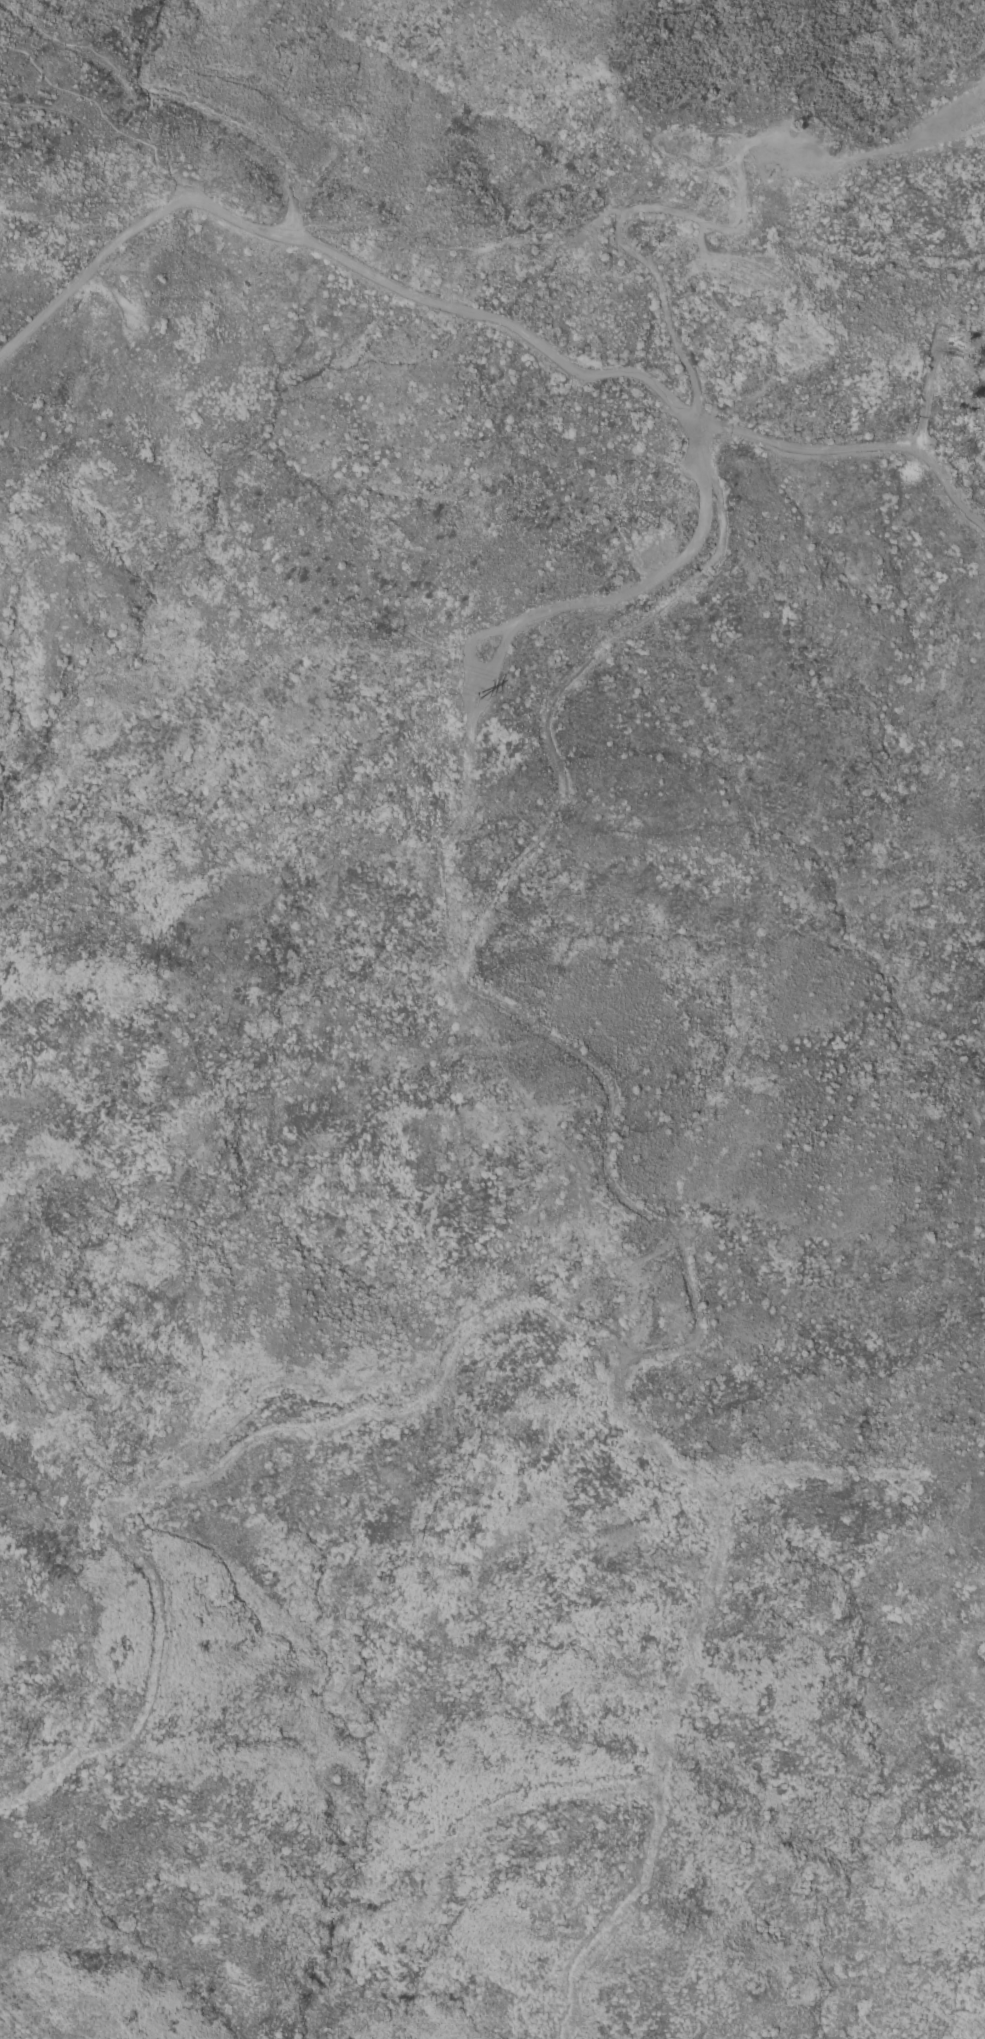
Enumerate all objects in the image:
road: (59, 111)
park: (948, 113)
road: (103, 119)
road: (976, 130)
road: (17, 134)
road: (29, 197)
road: (616, 210)
road: (350, 264)
road: (113, 293)
road: (672, 339)
road: (933, 368)
road: (872, 446)
power tower: (475, 707)

